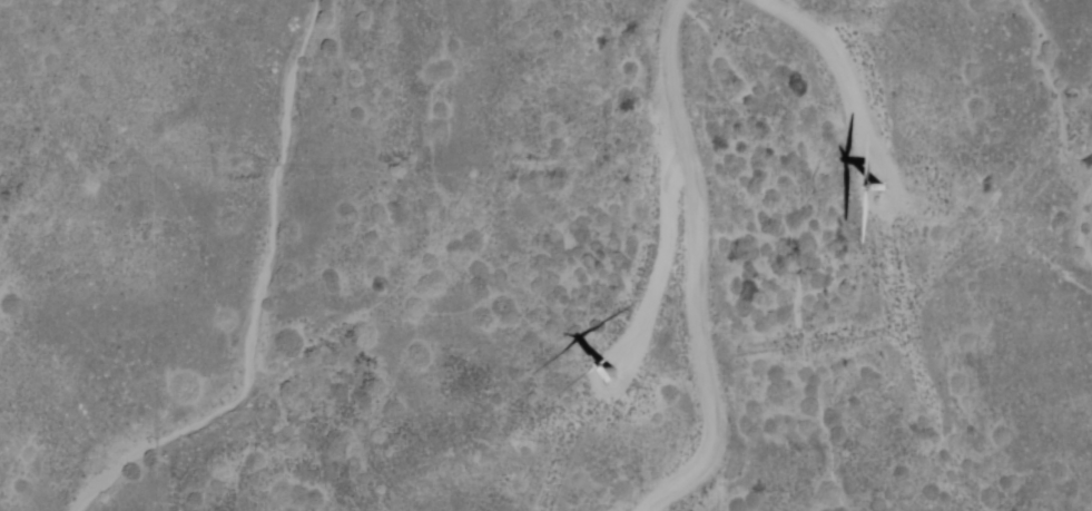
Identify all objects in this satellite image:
wind turbine: (879, 193)
road: (698, 264)
wind turbine: (608, 370)

